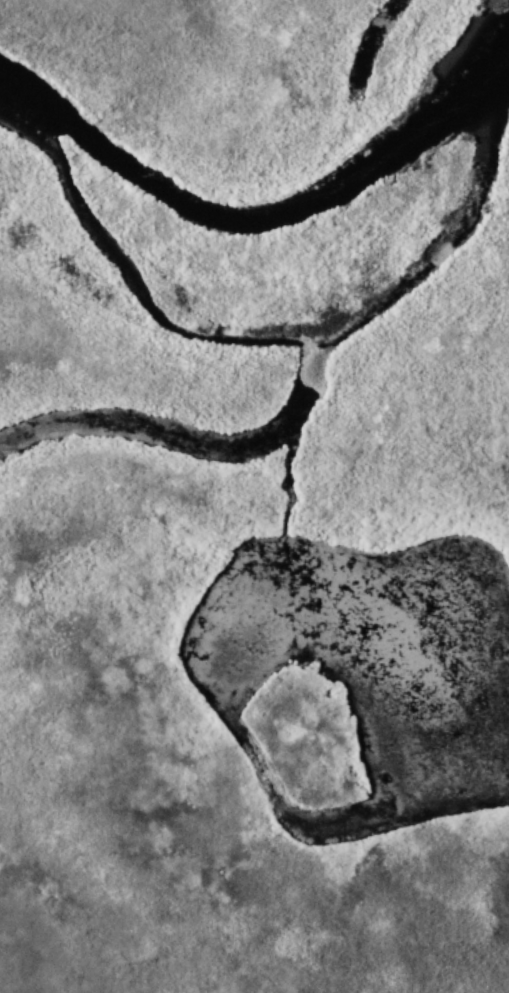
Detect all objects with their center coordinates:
river: (440, 198)
river: (134, 290)

